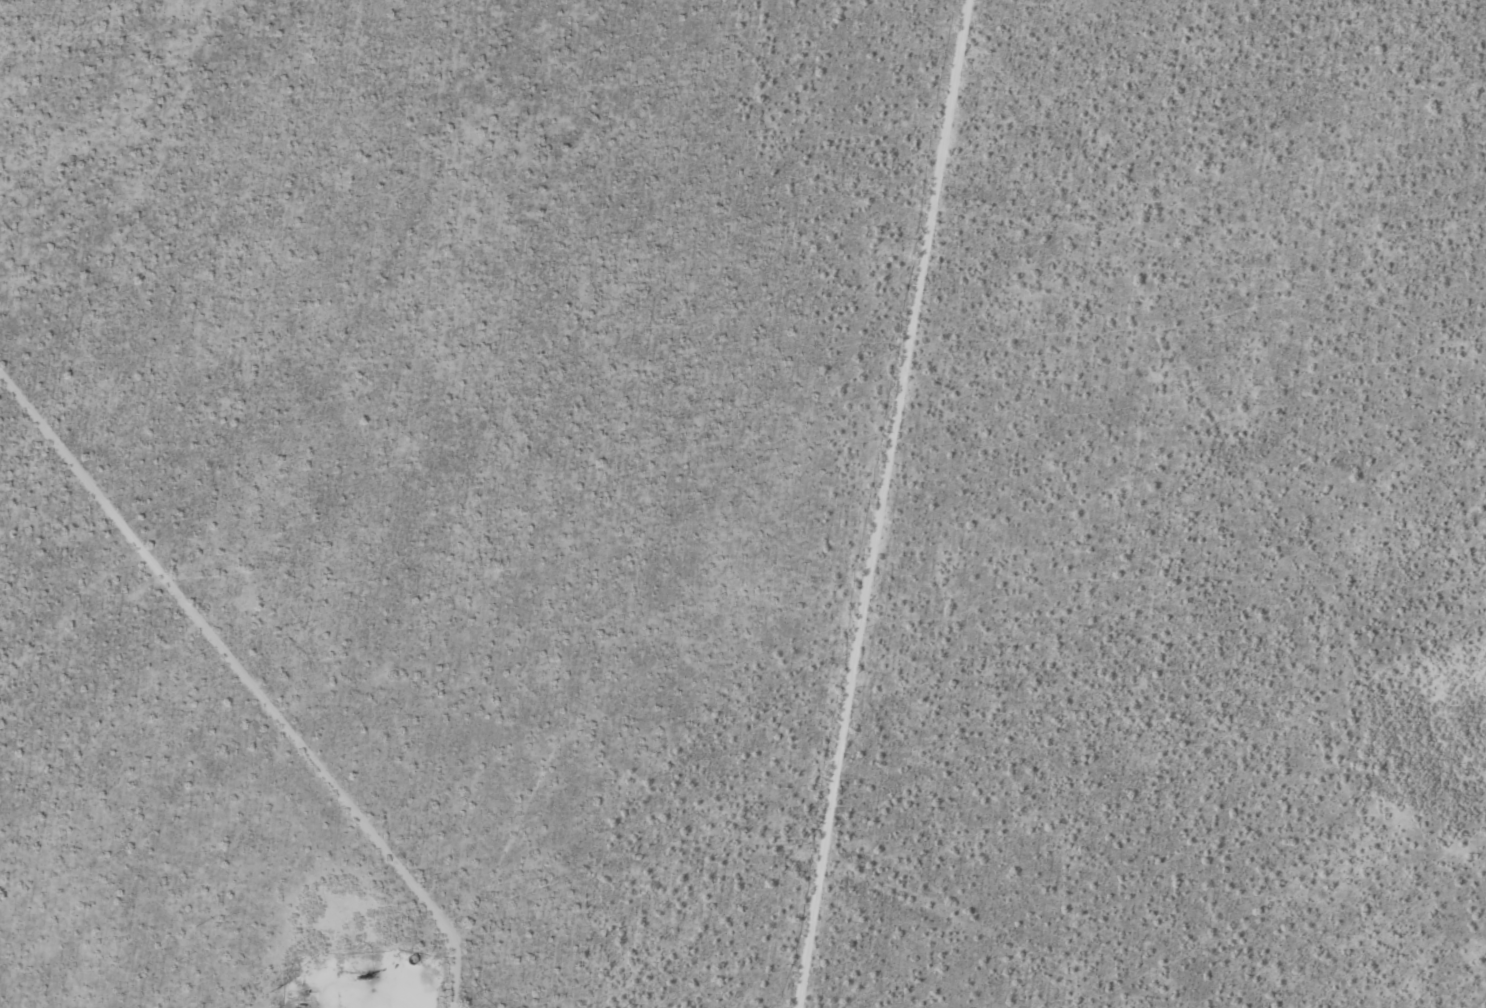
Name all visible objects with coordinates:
road: (882, 504)

